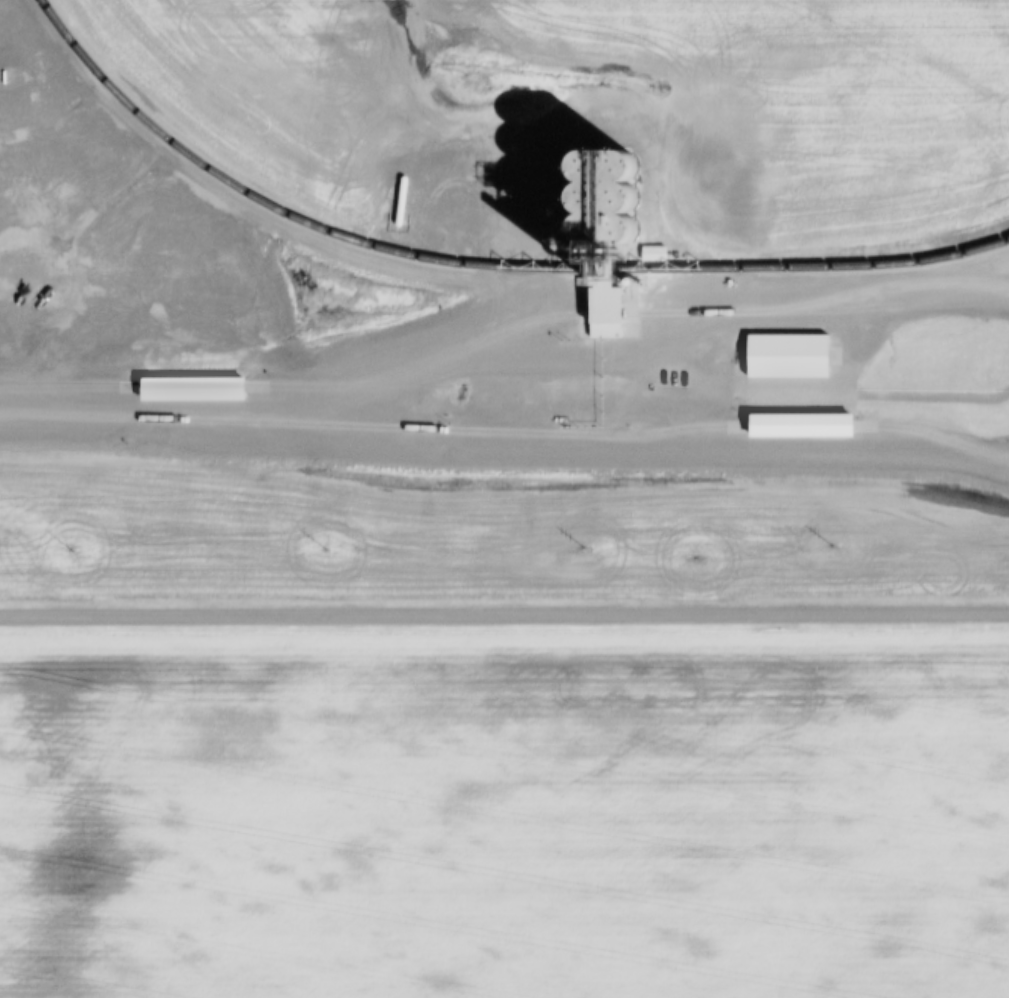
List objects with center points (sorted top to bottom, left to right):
road: (504, 613)

